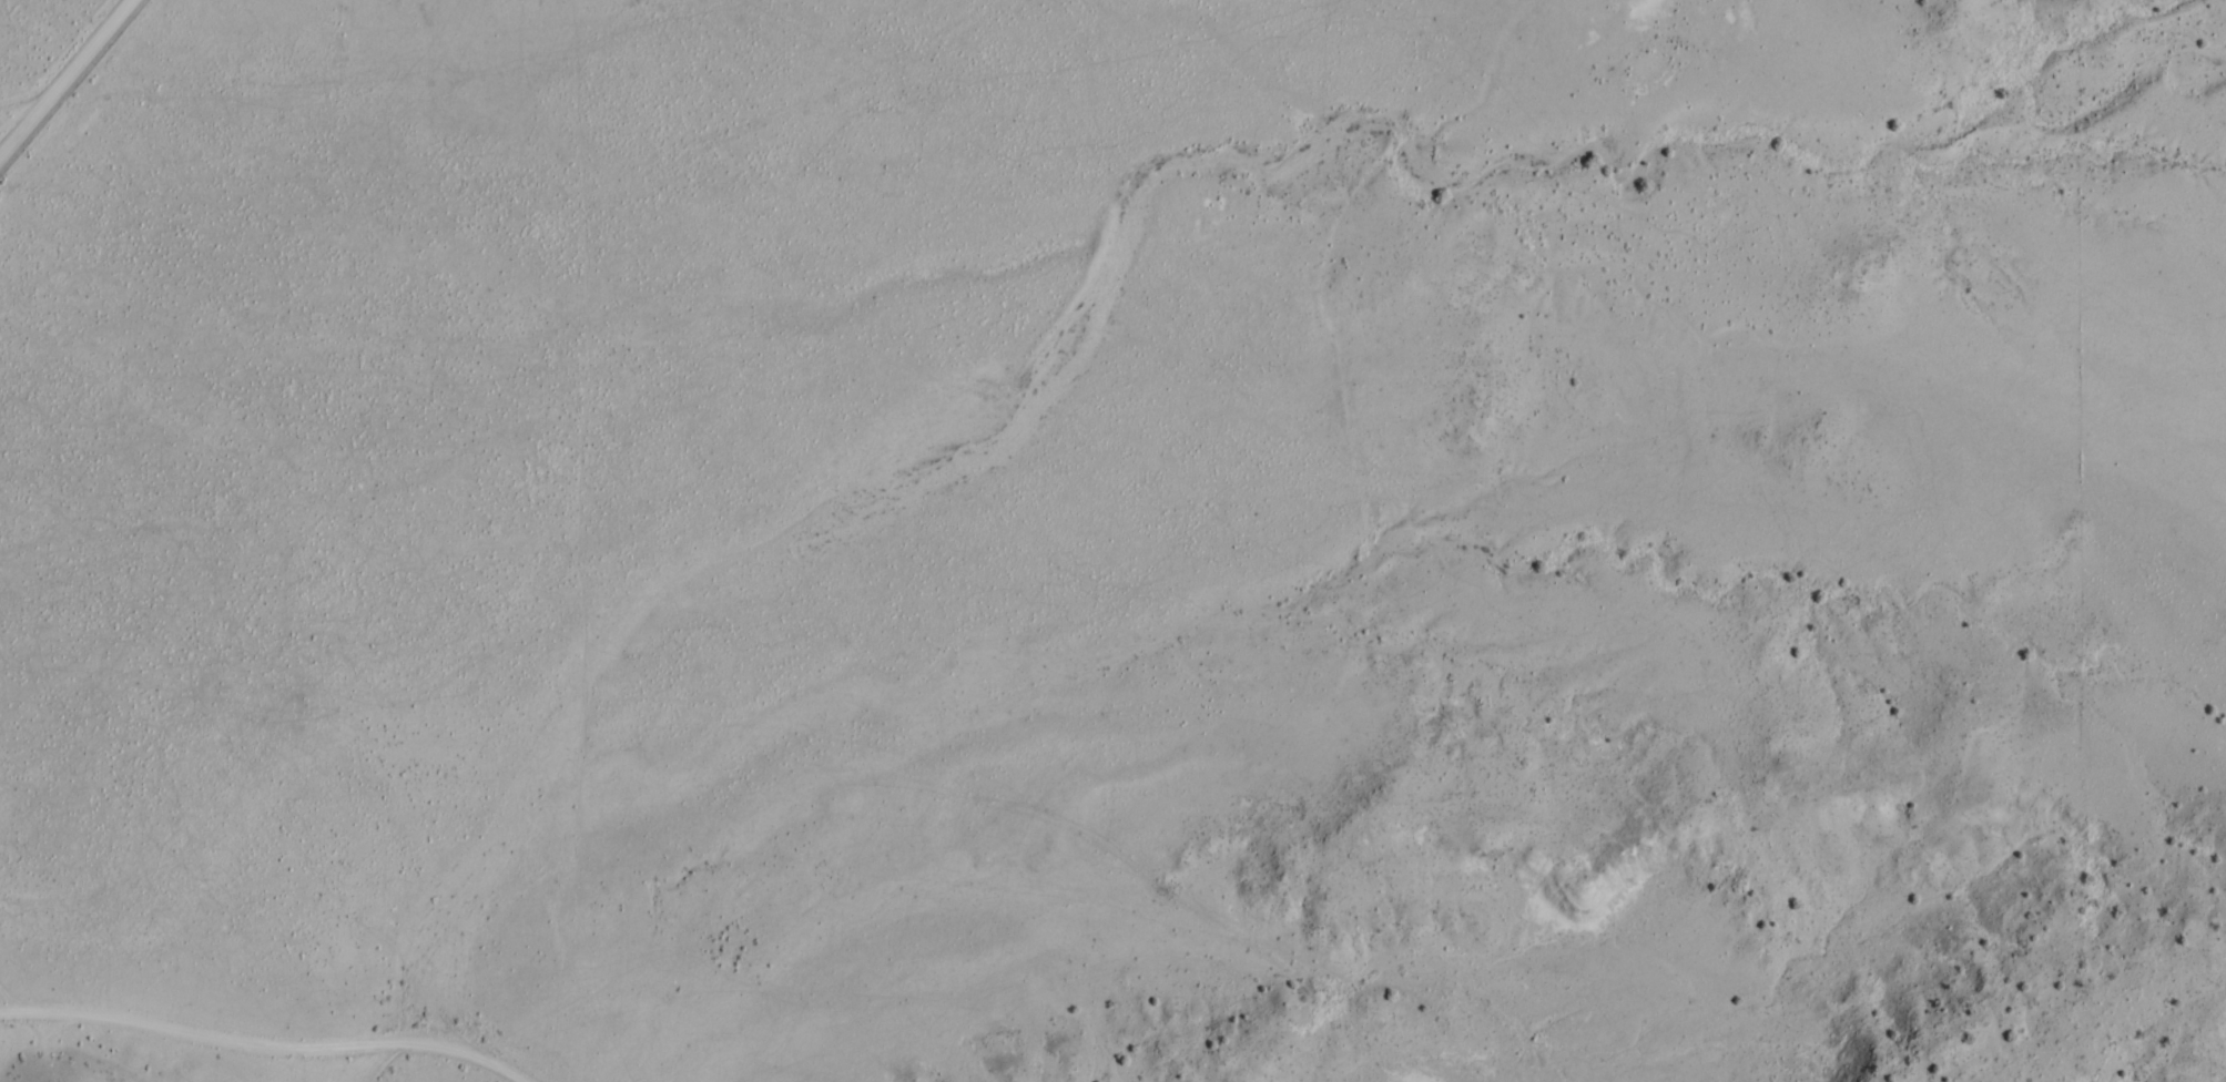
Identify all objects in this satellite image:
road: (63, 75)
road: (273, 1043)

